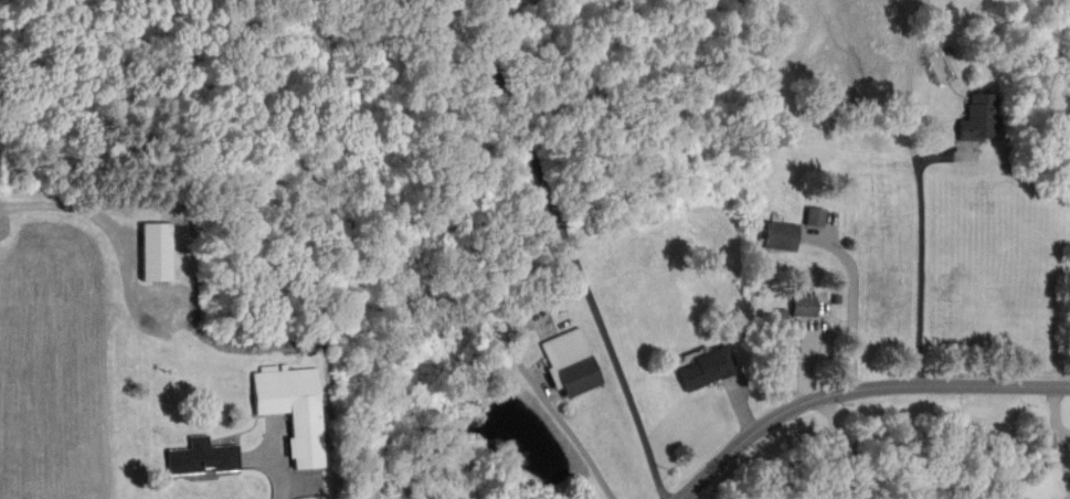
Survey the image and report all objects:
building: (979, 118)
road: (99, 211)
building: (816, 216)
building: (781, 235)
road: (570, 248)
road: (921, 248)
building: (156, 252)
road: (852, 302)
building: (804, 306)
building: (788, 338)
building: (572, 363)
building: (708, 369)
road: (856, 390)
building: (293, 411)
road: (560, 414)
road: (843, 446)
building: (203, 457)
building: (369, 495)
road: (282, 496)

